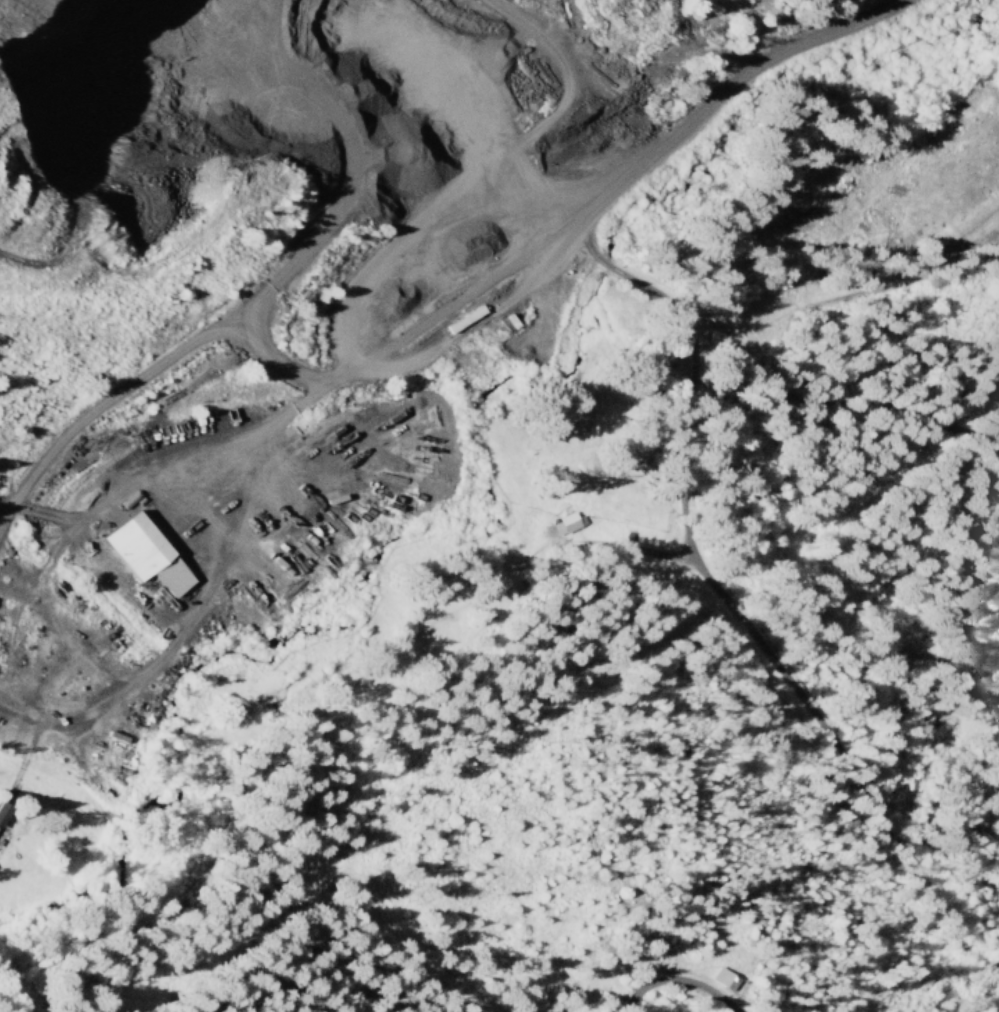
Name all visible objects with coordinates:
road: (451, 269)
building: (148, 553)
building: (3, 809)
building: (720, 977)

